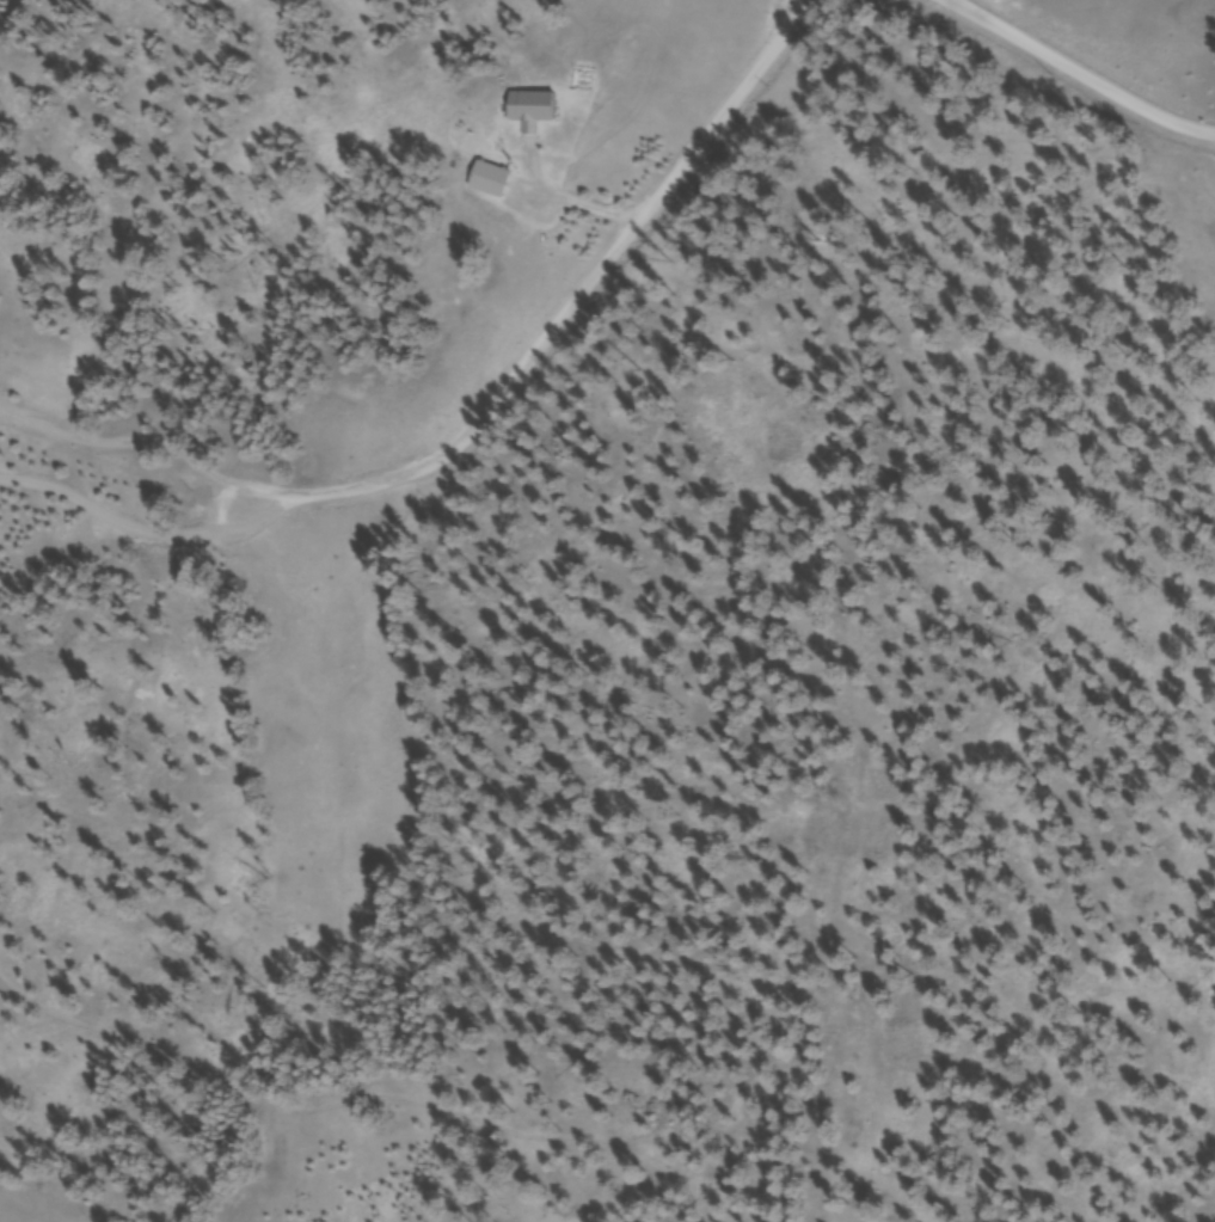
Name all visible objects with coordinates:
road: (1090, 66)
building: (535, 110)
building: (493, 183)
road: (564, 300)
road: (210, 505)

